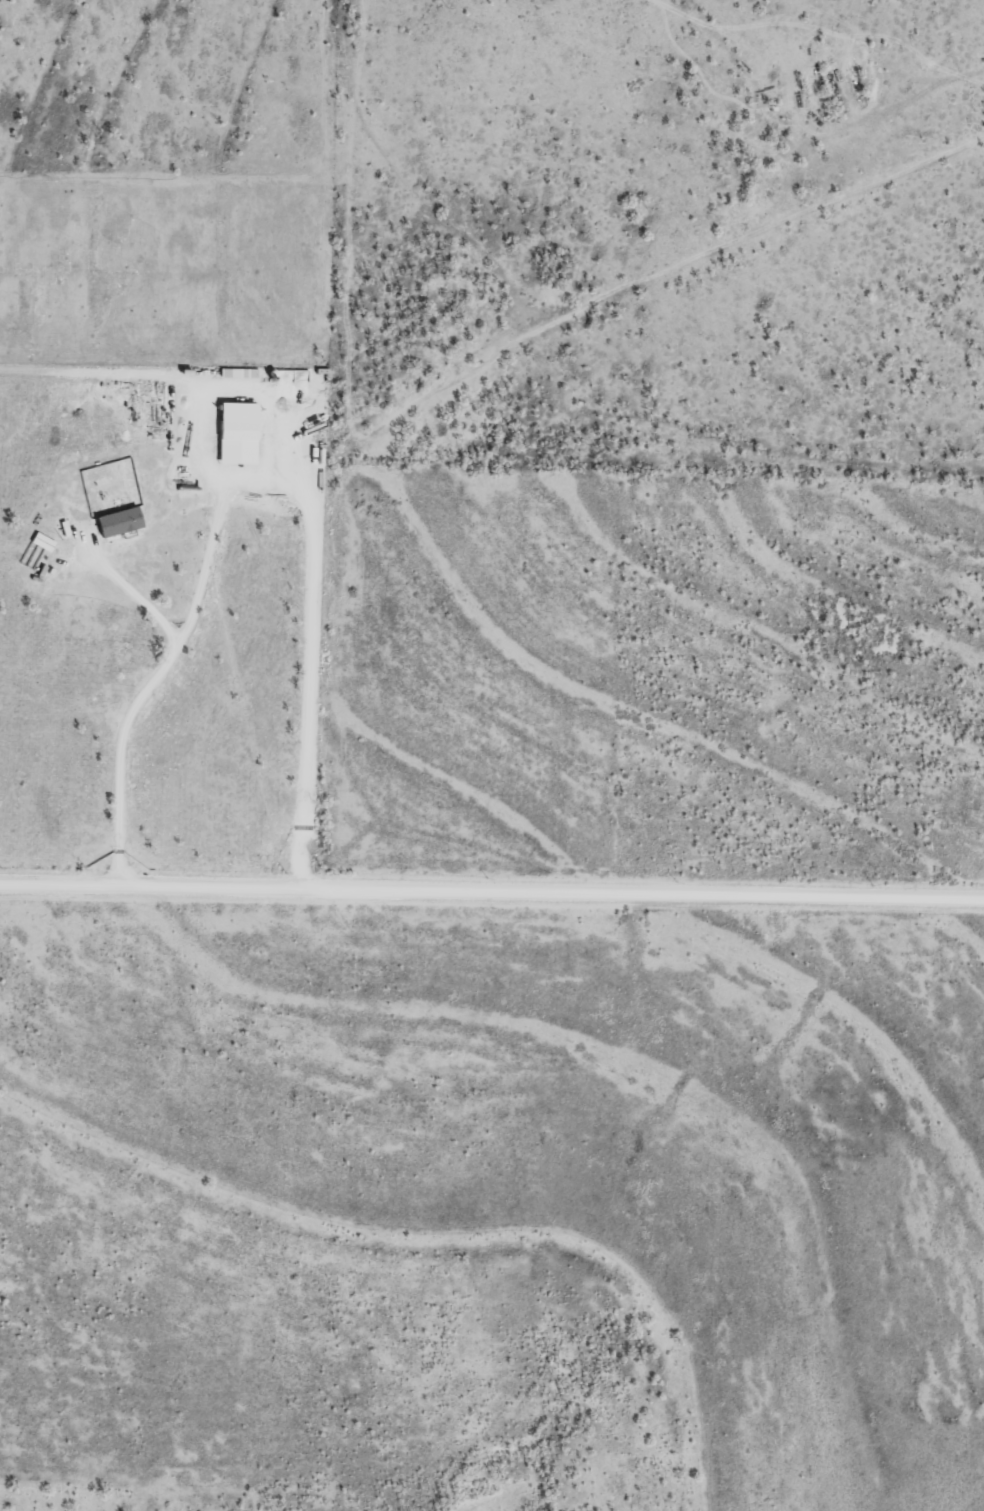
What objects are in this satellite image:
road: (784, 221)
building: (234, 431)
building: (116, 520)
road: (120, 583)
road: (164, 659)
road: (491, 887)
road: (978, 906)

